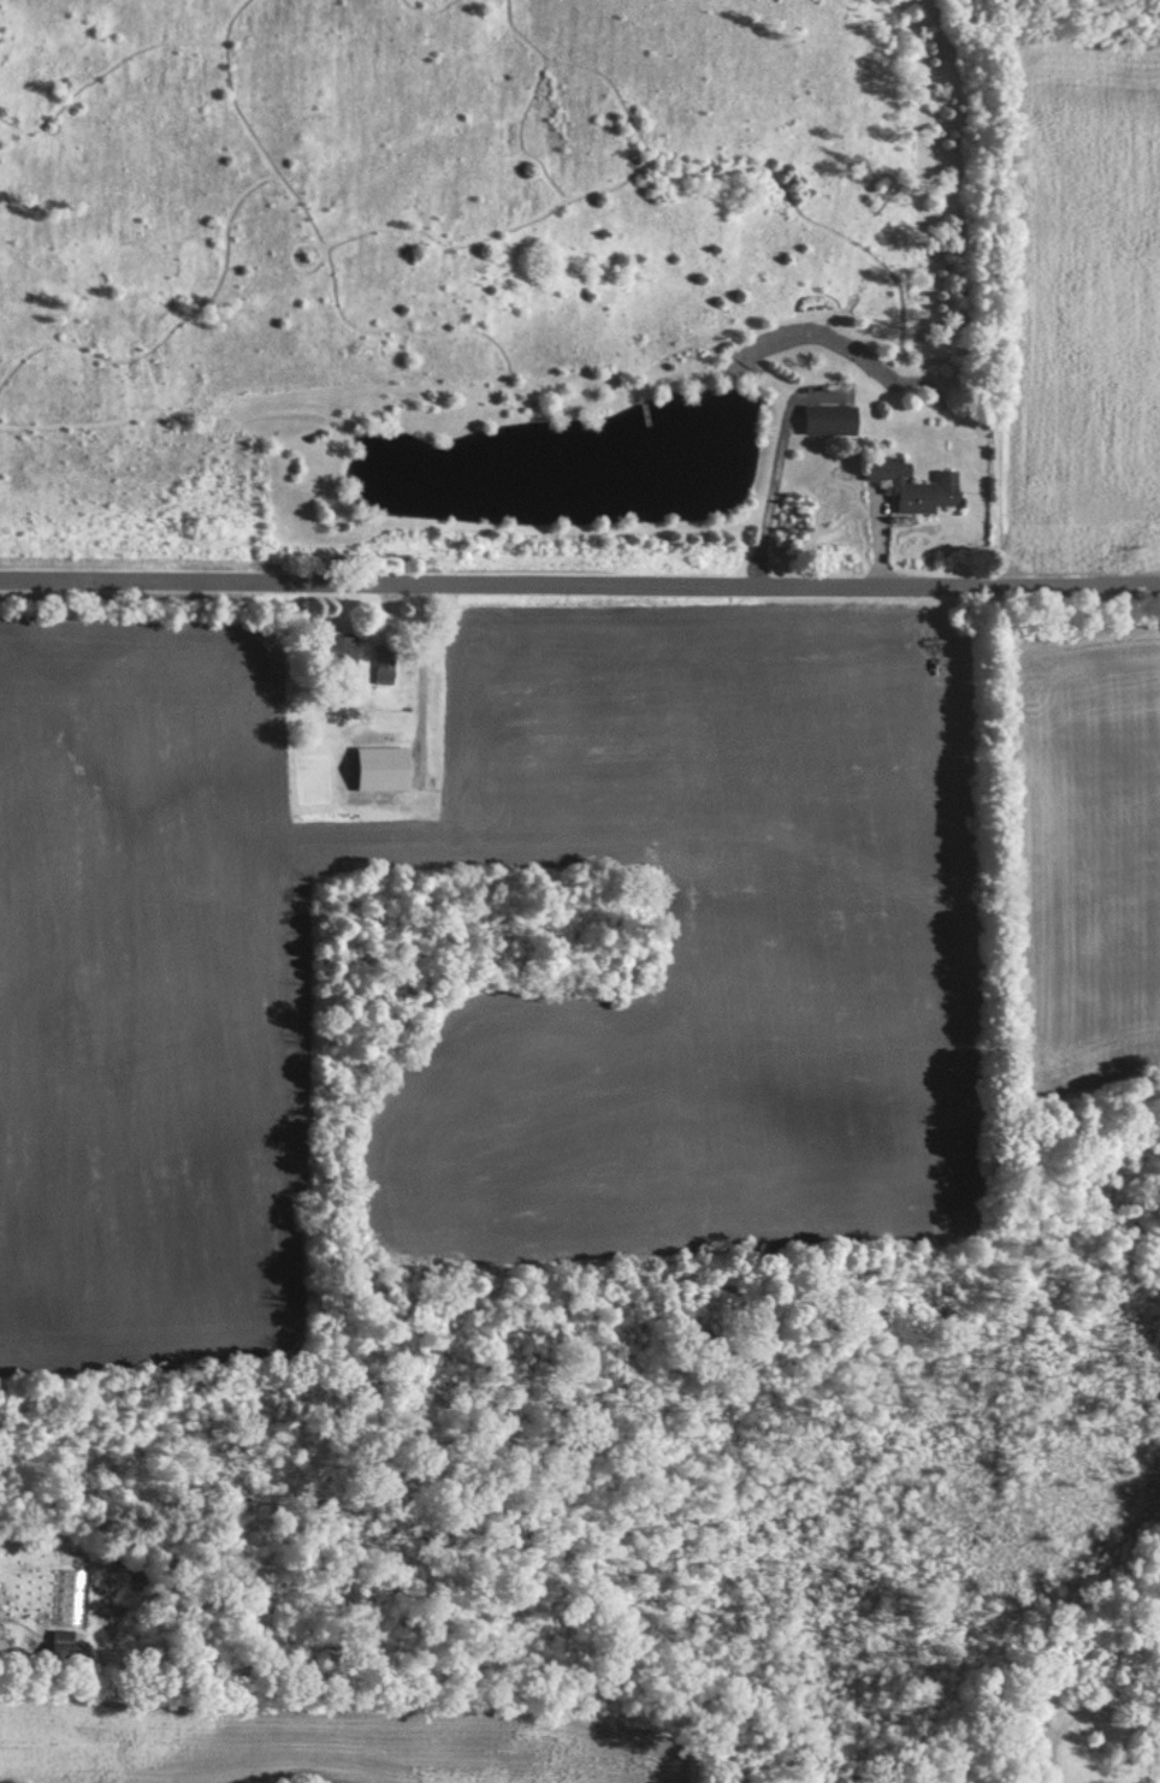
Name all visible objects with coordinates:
building: (829, 419)
road: (774, 466)
building: (913, 484)
road: (580, 584)
building: (345, 648)
building: (384, 662)

